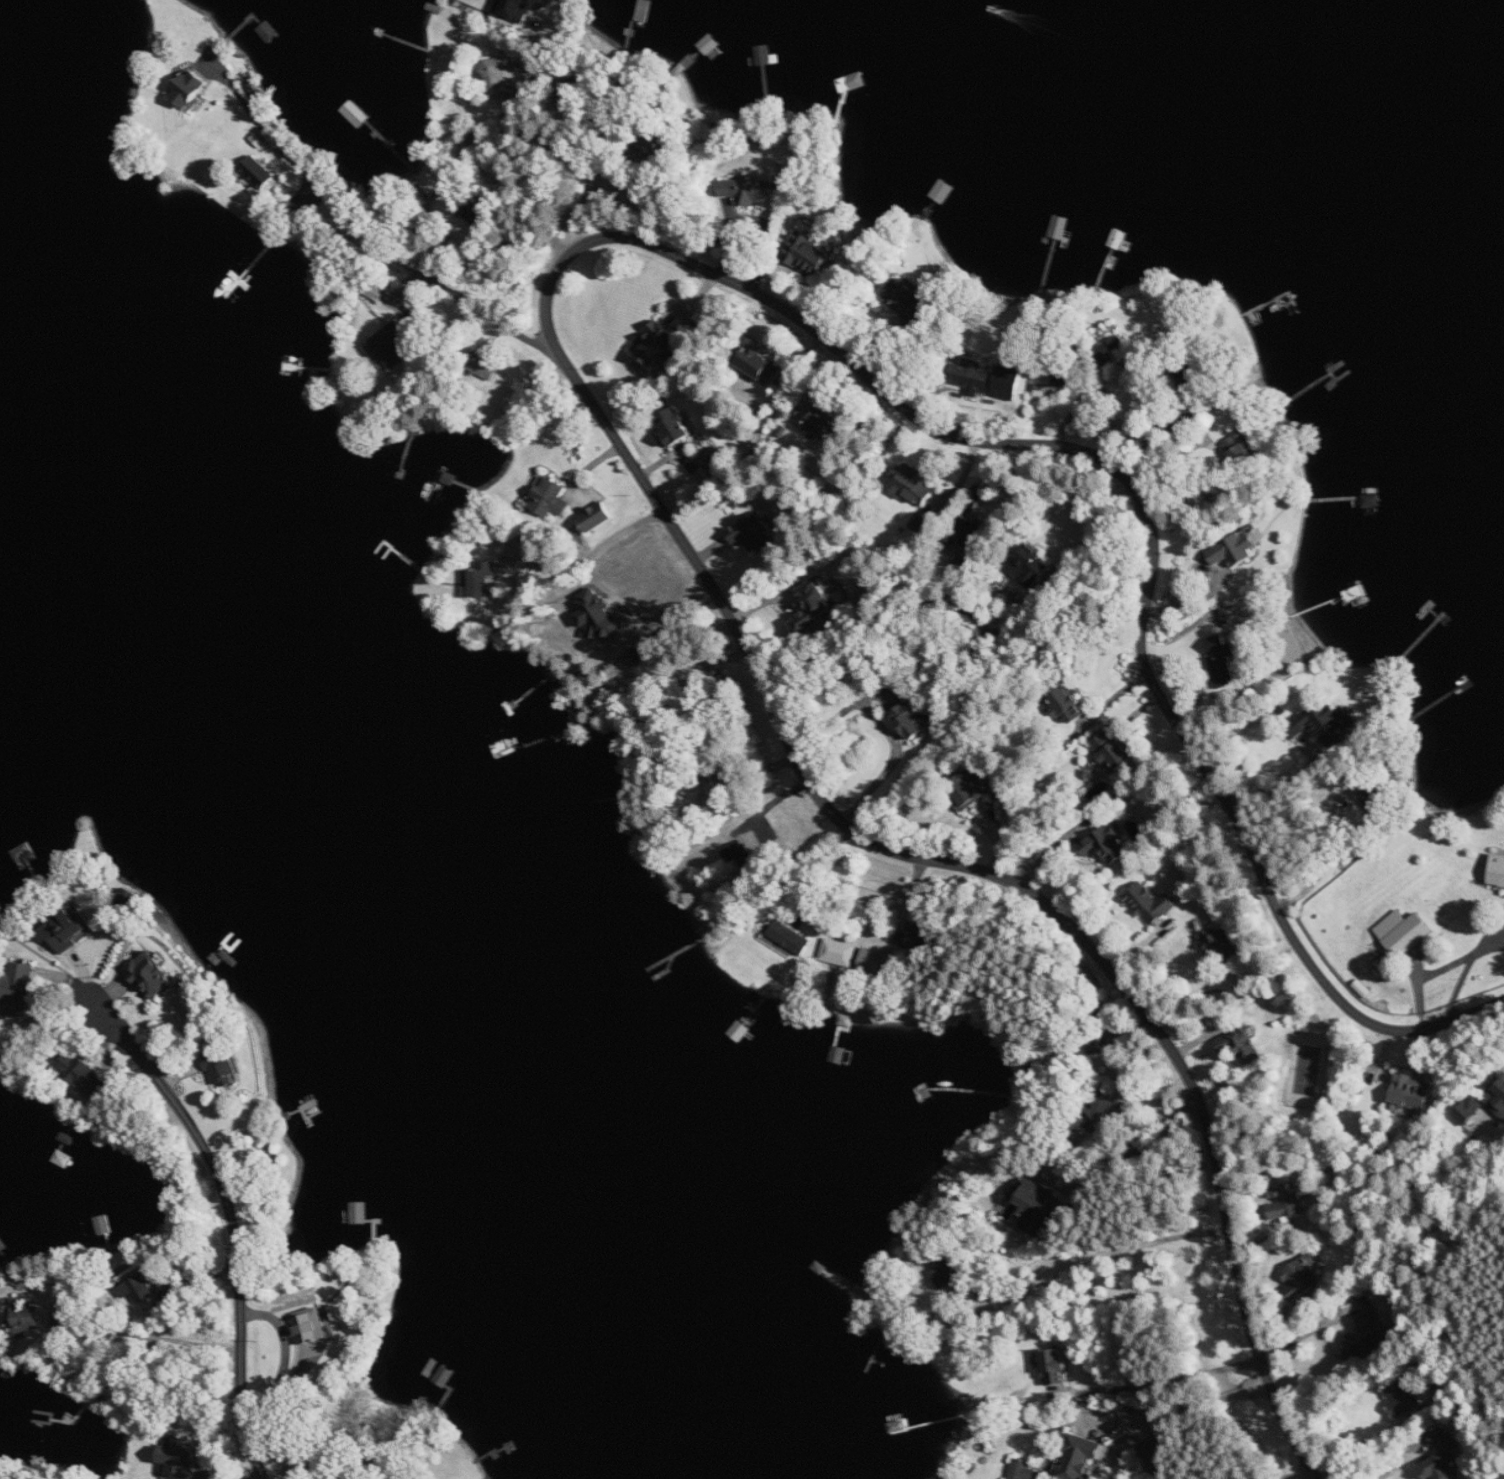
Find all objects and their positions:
building: (517, 7)
building: (500, 73)
building: (190, 88)
road: (510, 155)
building: (260, 175)
building: (747, 190)
building: (480, 213)
road: (379, 244)
building: (808, 255)
building: (907, 299)
road: (543, 316)
building: (656, 343)
building: (390, 344)
building: (1105, 351)
building: (762, 366)
building: (984, 385)
building: (674, 426)
building: (826, 427)
building: (1240, 449)
building: (912, 485)
building: (550, 498)
building: (598, 516)
road: (1098, 522)
building: (753, 533)
building: (973, 536)
building: (1234, 550)
road: (586, 560)
building: (1031, 567)
building: (481, 580)
building: (814, 605)
building: (603, 616)
building: (1222, 659)
building: (1064, 701)
building: (910, 720)
building: (1323, 724)
road: (884, 727)
road: (746, 744)
building: (1113, 751)
road: (765, 782)
building: (968, 788)
road: (1281, 790)
building: (87, 824)
road: (806, 842)
building: (1107, 844)
building: (743, 849)
road: (1326, 859)
road: (811, 865)
building: (1497, 870)
building: (1150, 903)
building: (64, 931)
building: (1404, 932)
building: (790, 937)
building: (1224, 948)
building: (839, 952)
road: (1452, 962)
building: (879, 963)
building: (151, 975)
building: (19, 990)
building: (1241, 1045)
building: (223, 1067)
building: (85, 1074)
building: (1412, 1095)
building: (1496, 1096)
building: (1101, 1112)
road: (1155, 1144)
building: (1286, 1200)
building: (1034, 1208)
building: (359, 1213)
road: (238, 1216)
road: (1089, 1253)
building: (949, 1272)
building: (1302, 1277)
building: (137, 1287)
building: (23, 1318)
building: (311, 1326)
road: (1303, 1334)
building: (1366, 1336)
building: (1053, 1367)
road: (1162, 1378)
building: (1403, 1396)
road: (1199, 1403)
road: (1361, 1446)
building: (1080, 1456)
building: (183, 1458)
building: (1440, 1467)
road: (1397, 1468)
building: (1024, 1470)
building: (1502, 1478)

